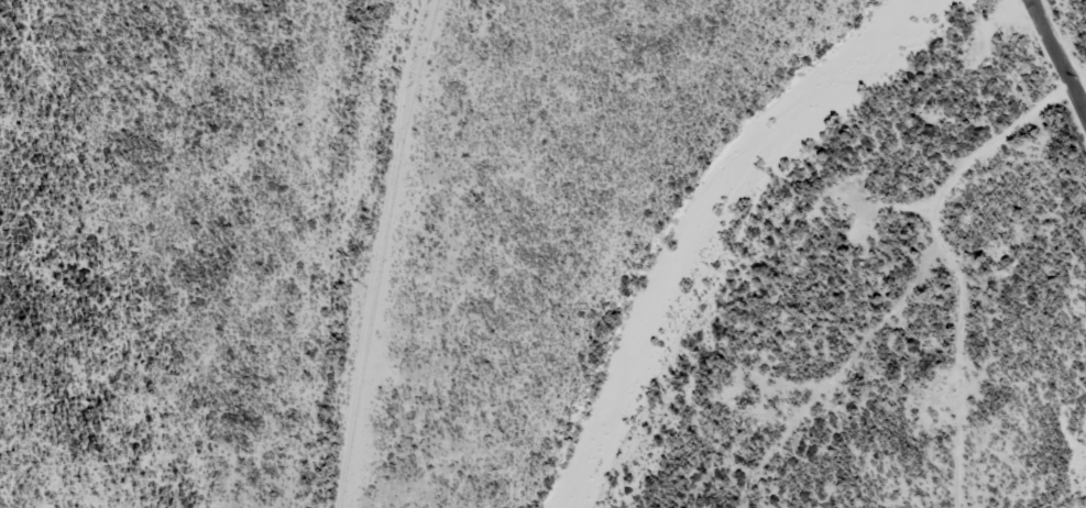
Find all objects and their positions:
road: (1031, 22)
road: (1035, 62)
road: (864, 287)

